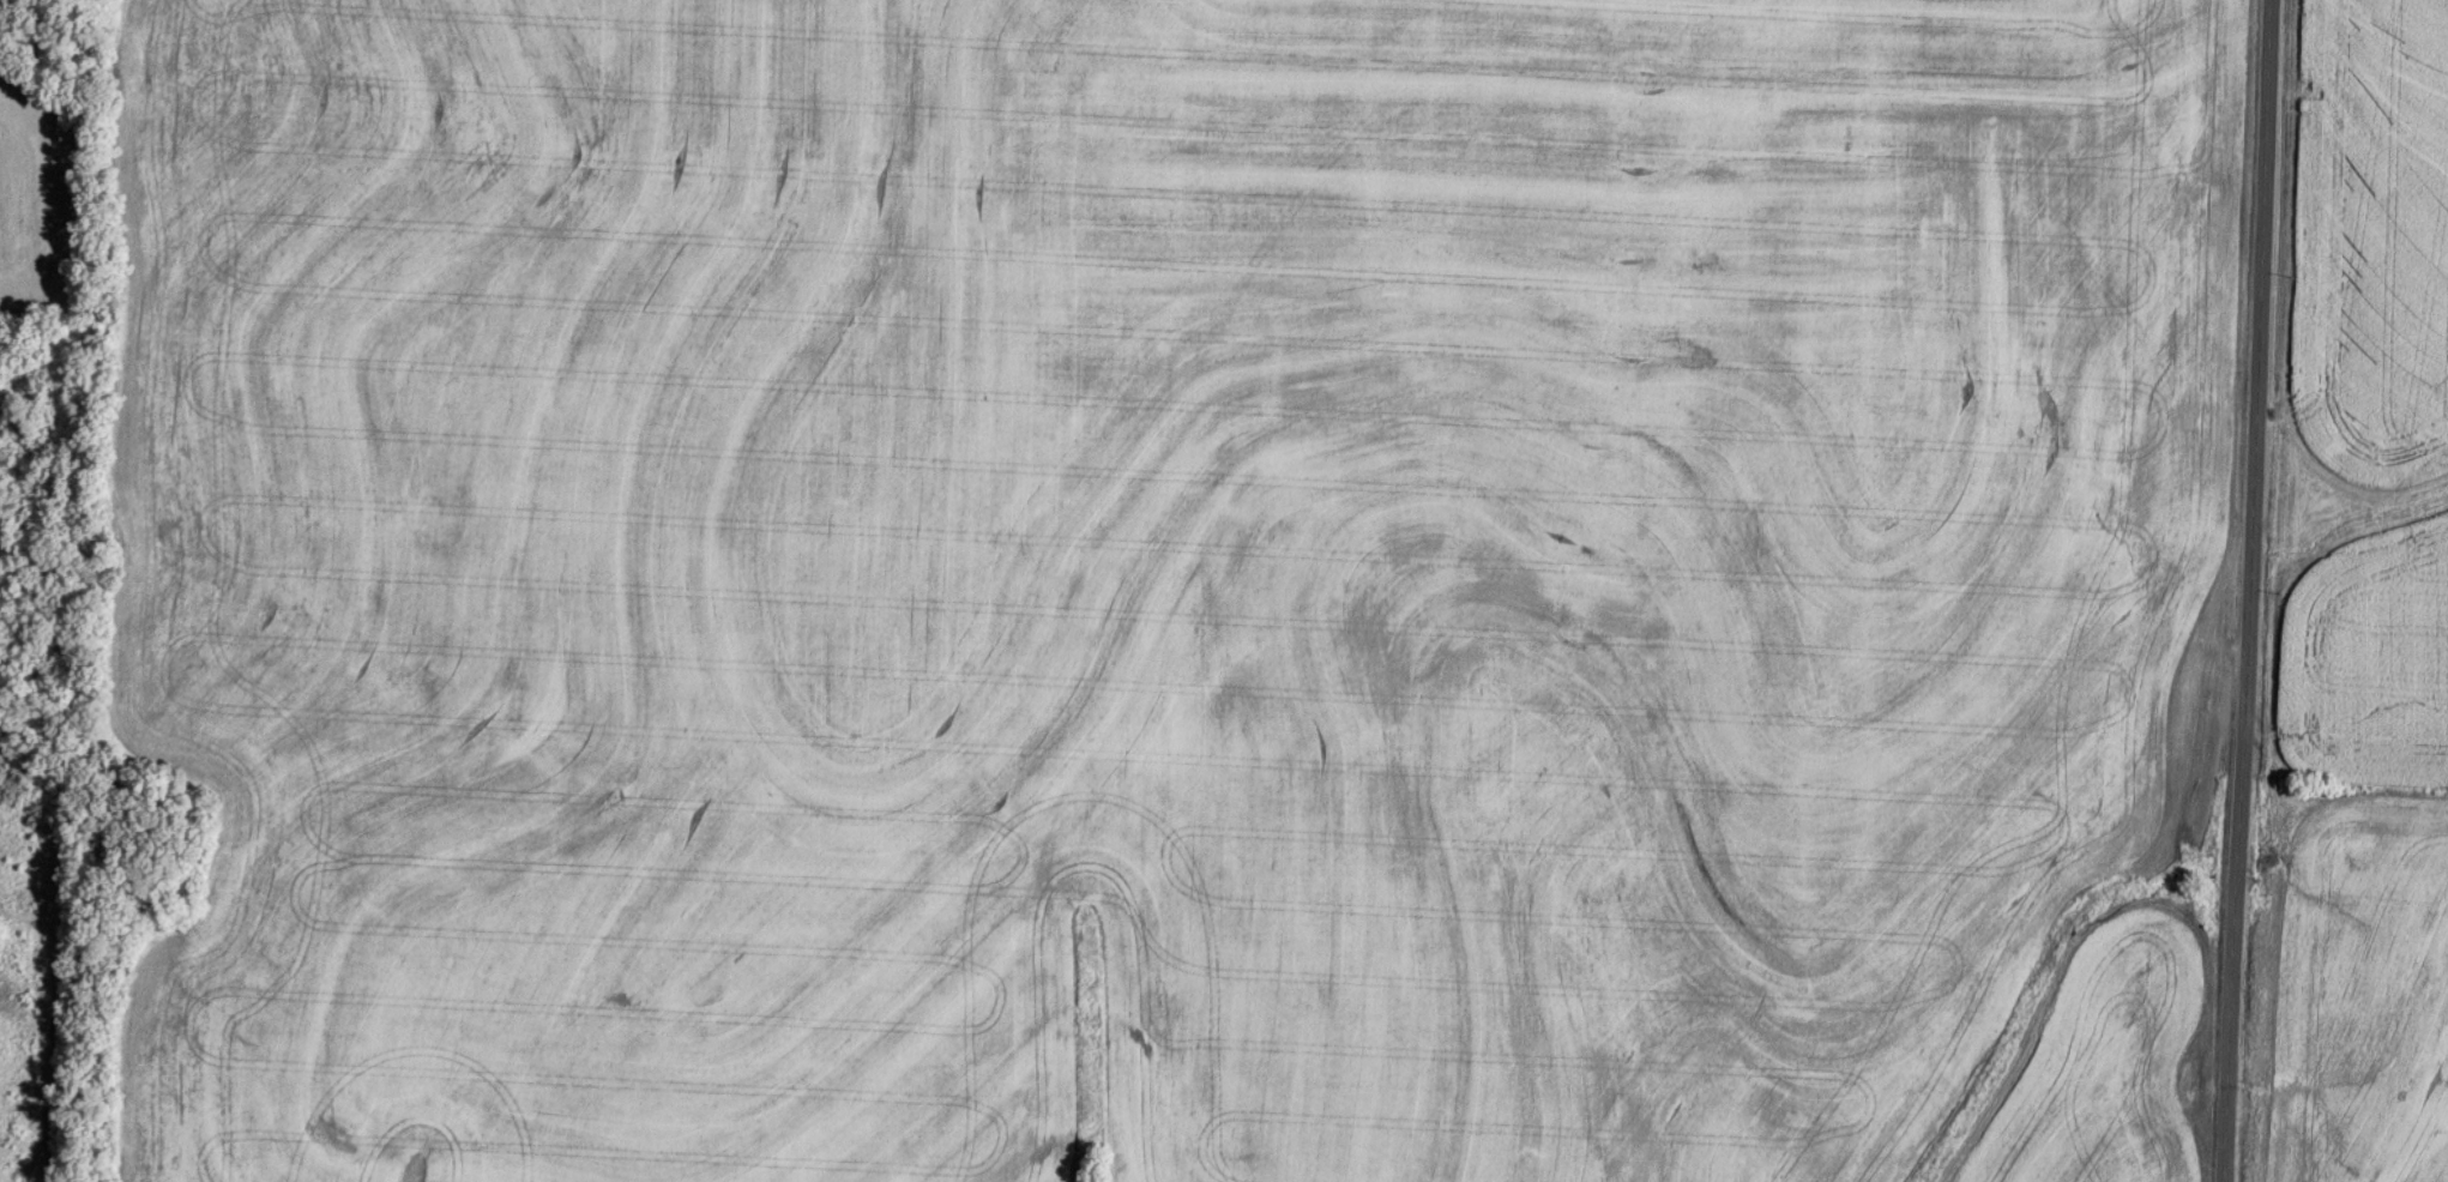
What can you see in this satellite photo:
road: (2248, 591)

